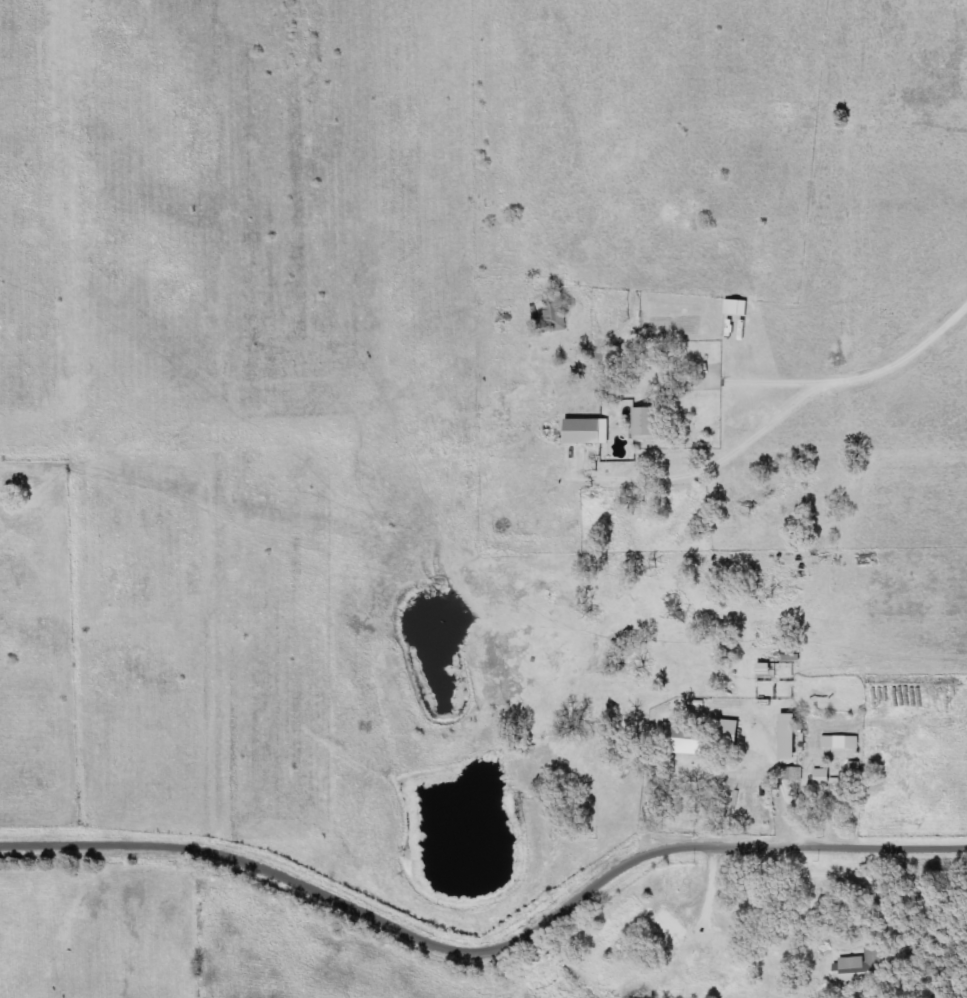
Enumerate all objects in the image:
building: (737, 307)
building: (558, 310)
building: (646, 425)
building: (586, 431)
road: (711, 652)
building: (728, 730)
building: (786, 736)
building: (683, 739)
building: (841, 742)
building: (794, 773)
building: (835, 785)
building: (670, 926)
road: (487, 948)
building: (861, 967)

